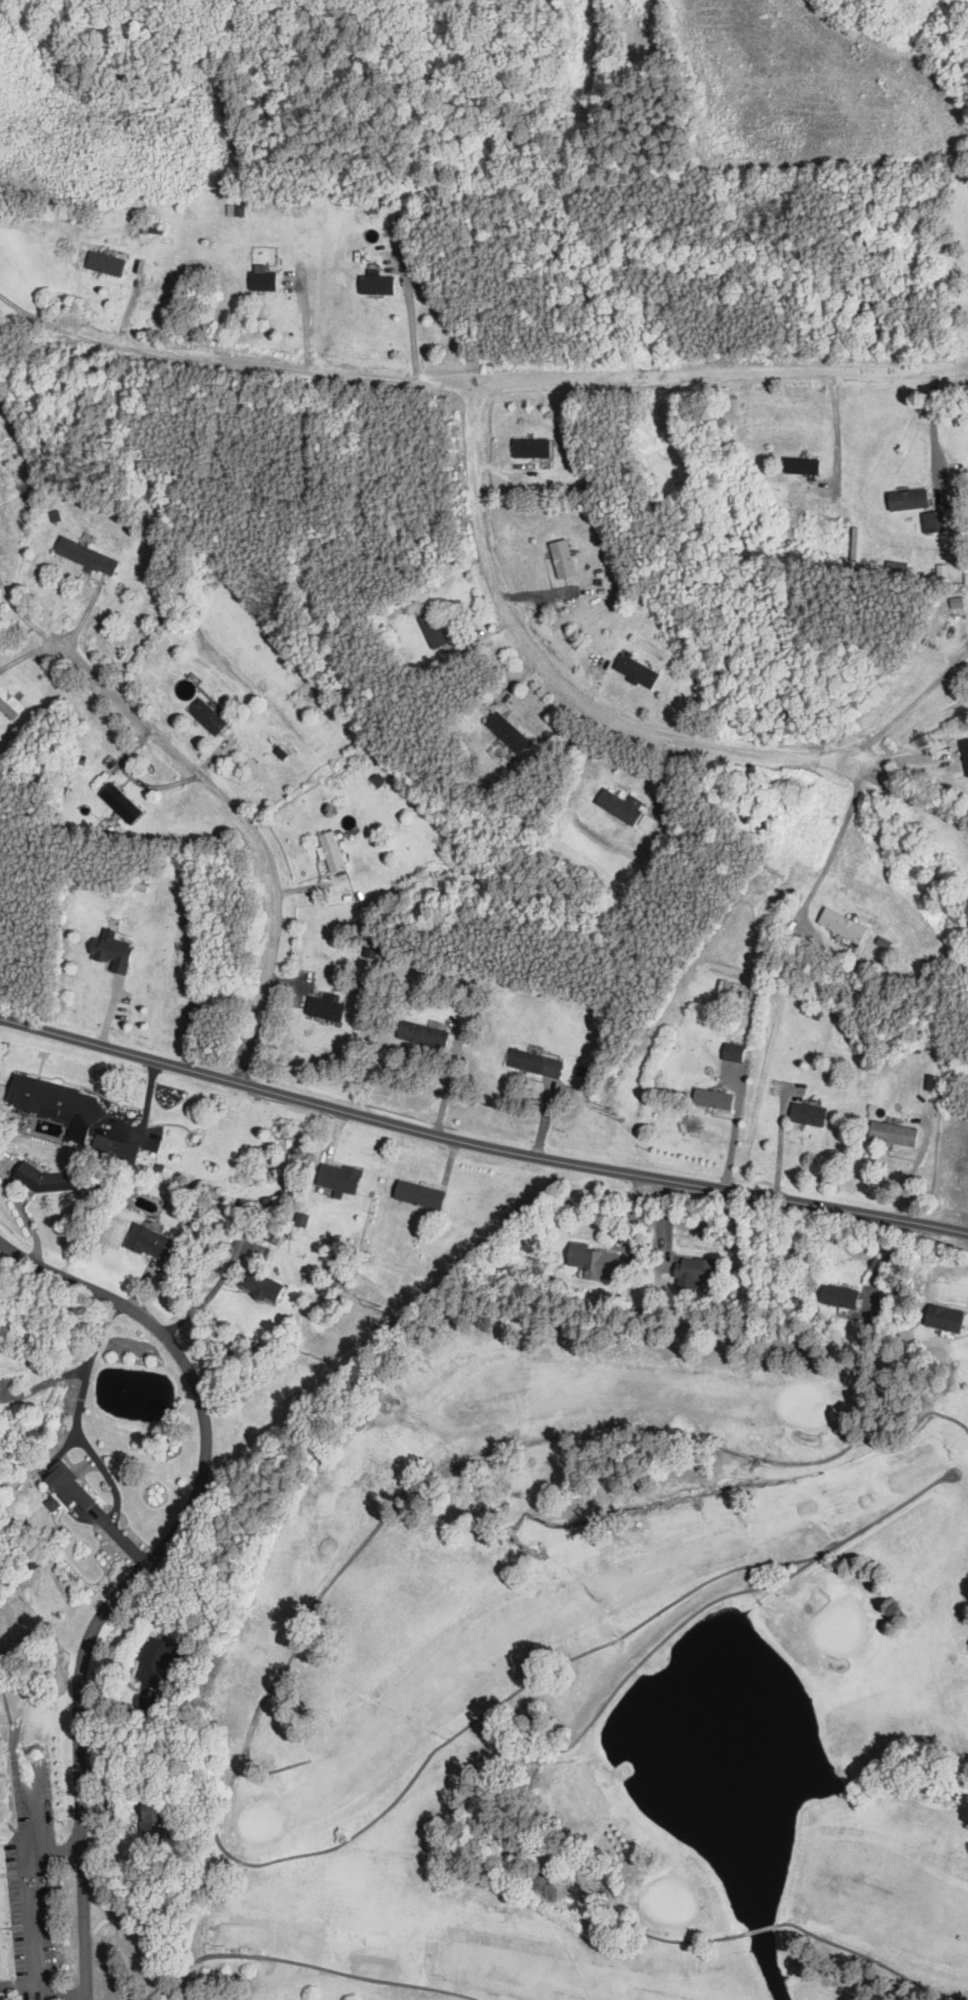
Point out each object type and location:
building: (231, 212)
building: (104, 264)
building: (262, 280)
building: (376, 284)
road: (28, 309)
road: (408, 325)
road: (511, 384)
road: (934, 424)
building: (531, 447)
building: (800, 466)
building: (908, 499)
building: (932, 522)
building: (86, 556)
building: (561, 559)
building: (431, 626)
road: (31, 651)
building: (636, 671)
road: (566, 678)
road: (909, 702)
building: (10, 704)
building: (207, 717)
building: (507, 732)
road: (900, 752)
building: (965, 754)
road: (907, 797)
building: (121, 803)
building: (620, 806)
road: (253, 831)
road: (840, 835)
building: (331, 851)
power tower: (779, 871)
building: (842, 925)
building: (111, 951)
building: (202, 1001)
building: (325, 1008)
building: (423, 1035)
building: (733, 1052)
building: (535, 1063)
road: (445, 1086)
building: (50, 1099)
building: (713, 1099)
power tower: (614, 1109)
building: (808, 1114)
building: (893, 1133)
road: (479, 1145)
road: (780, 1145)
building: (107, 1146)
building: (338, 1178)
building: (418, 1195)
building: (152, 1243)
building: (593, 1262)
building: (694, 1269)
building: (260, 1286)
road: (209, 1294)
building: (840, 1297)
power tower: (385, 1307)
building: (943, 1319)
road: (44, 1385)
road: (83, 1441)
building: (68, 1488)
road: (142, 1567)
building: (157, 1664)
park: (559, 1691)
building: (152, 1820)
road: (58, 1846)
road: (35, 1870)
road: (43, 1986)

